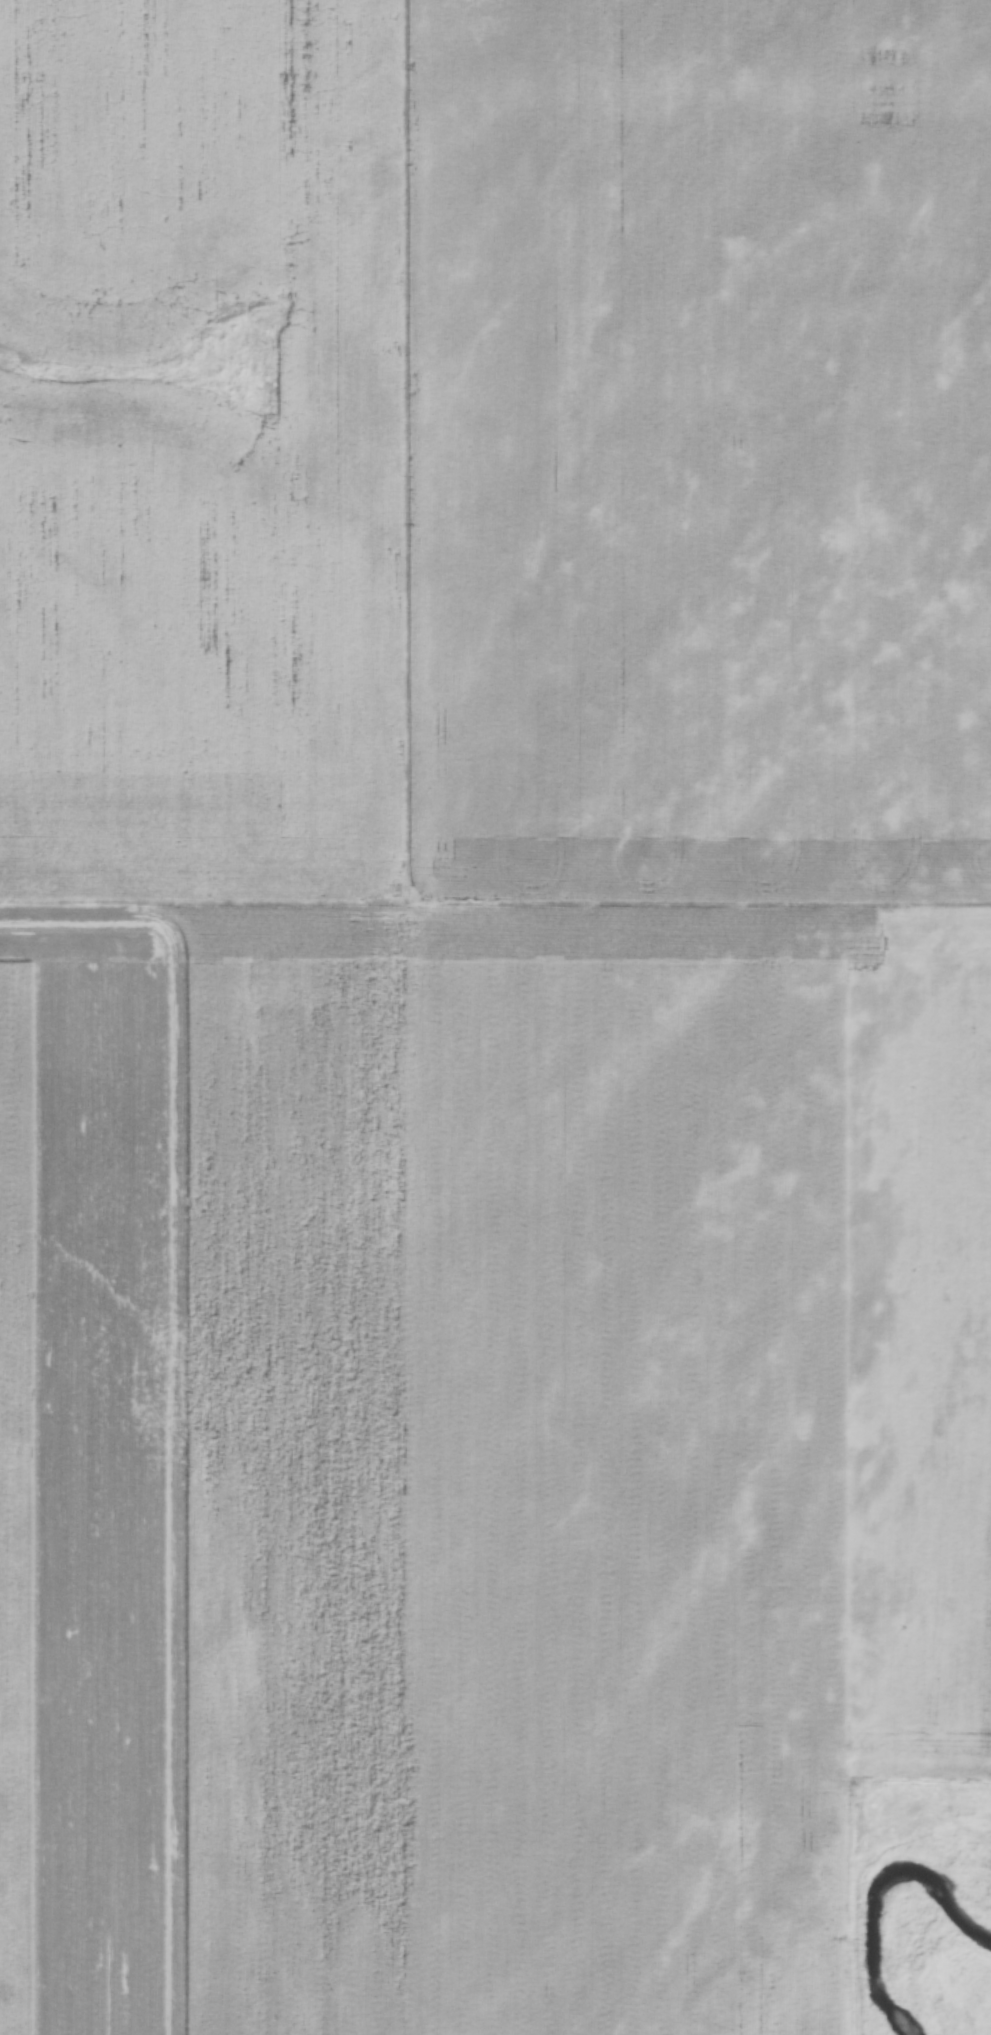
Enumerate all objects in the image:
river: (877, 1896)

